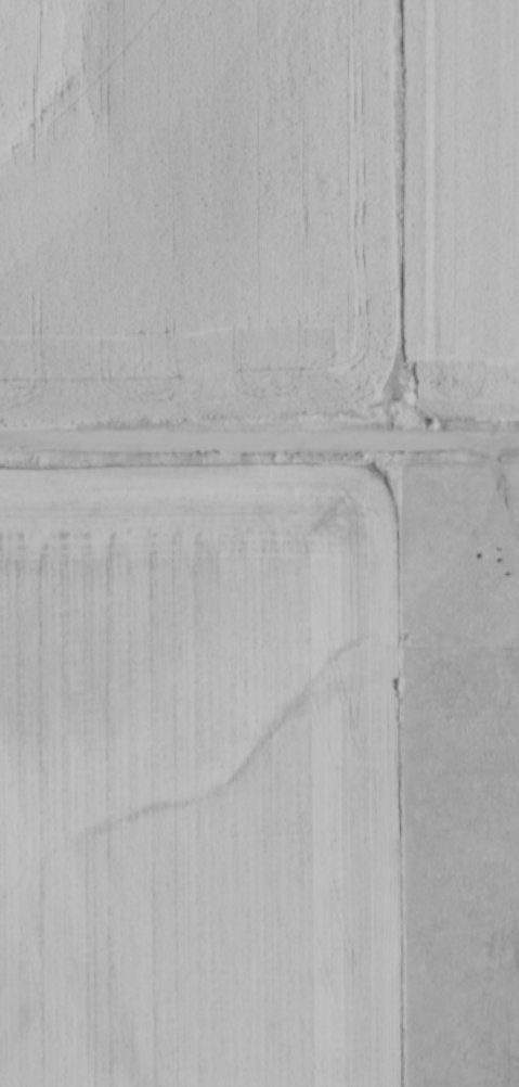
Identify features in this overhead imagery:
road: (259, 448)

